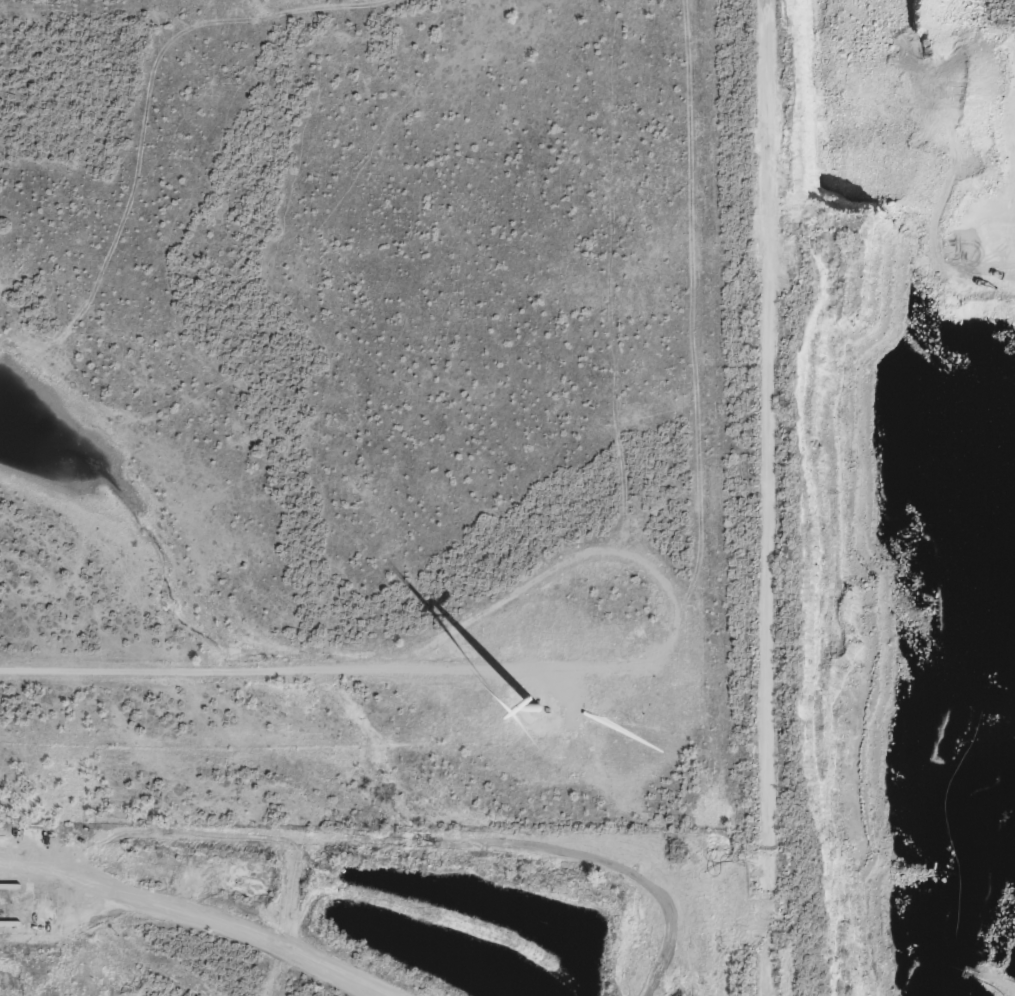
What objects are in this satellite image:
road: (777, 498)
wind turbine: (532, 716)

